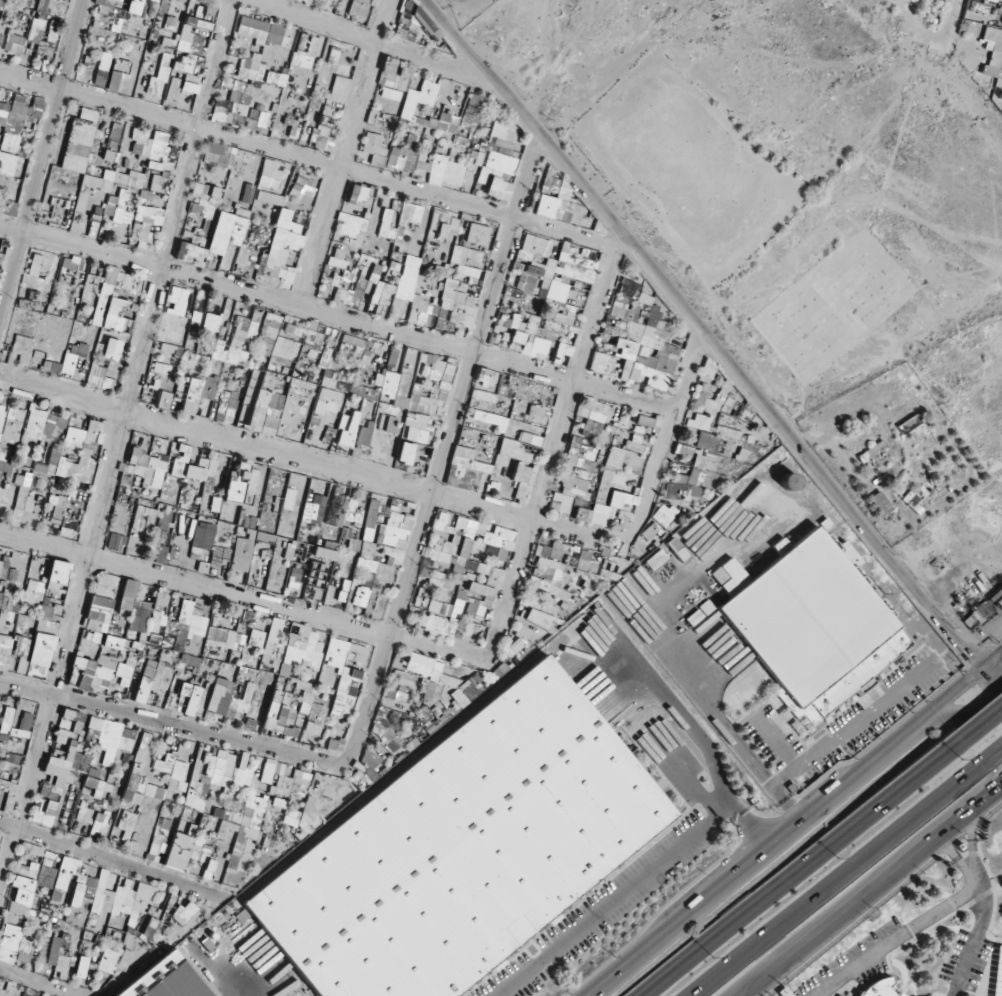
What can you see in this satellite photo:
park: (681, 154)

